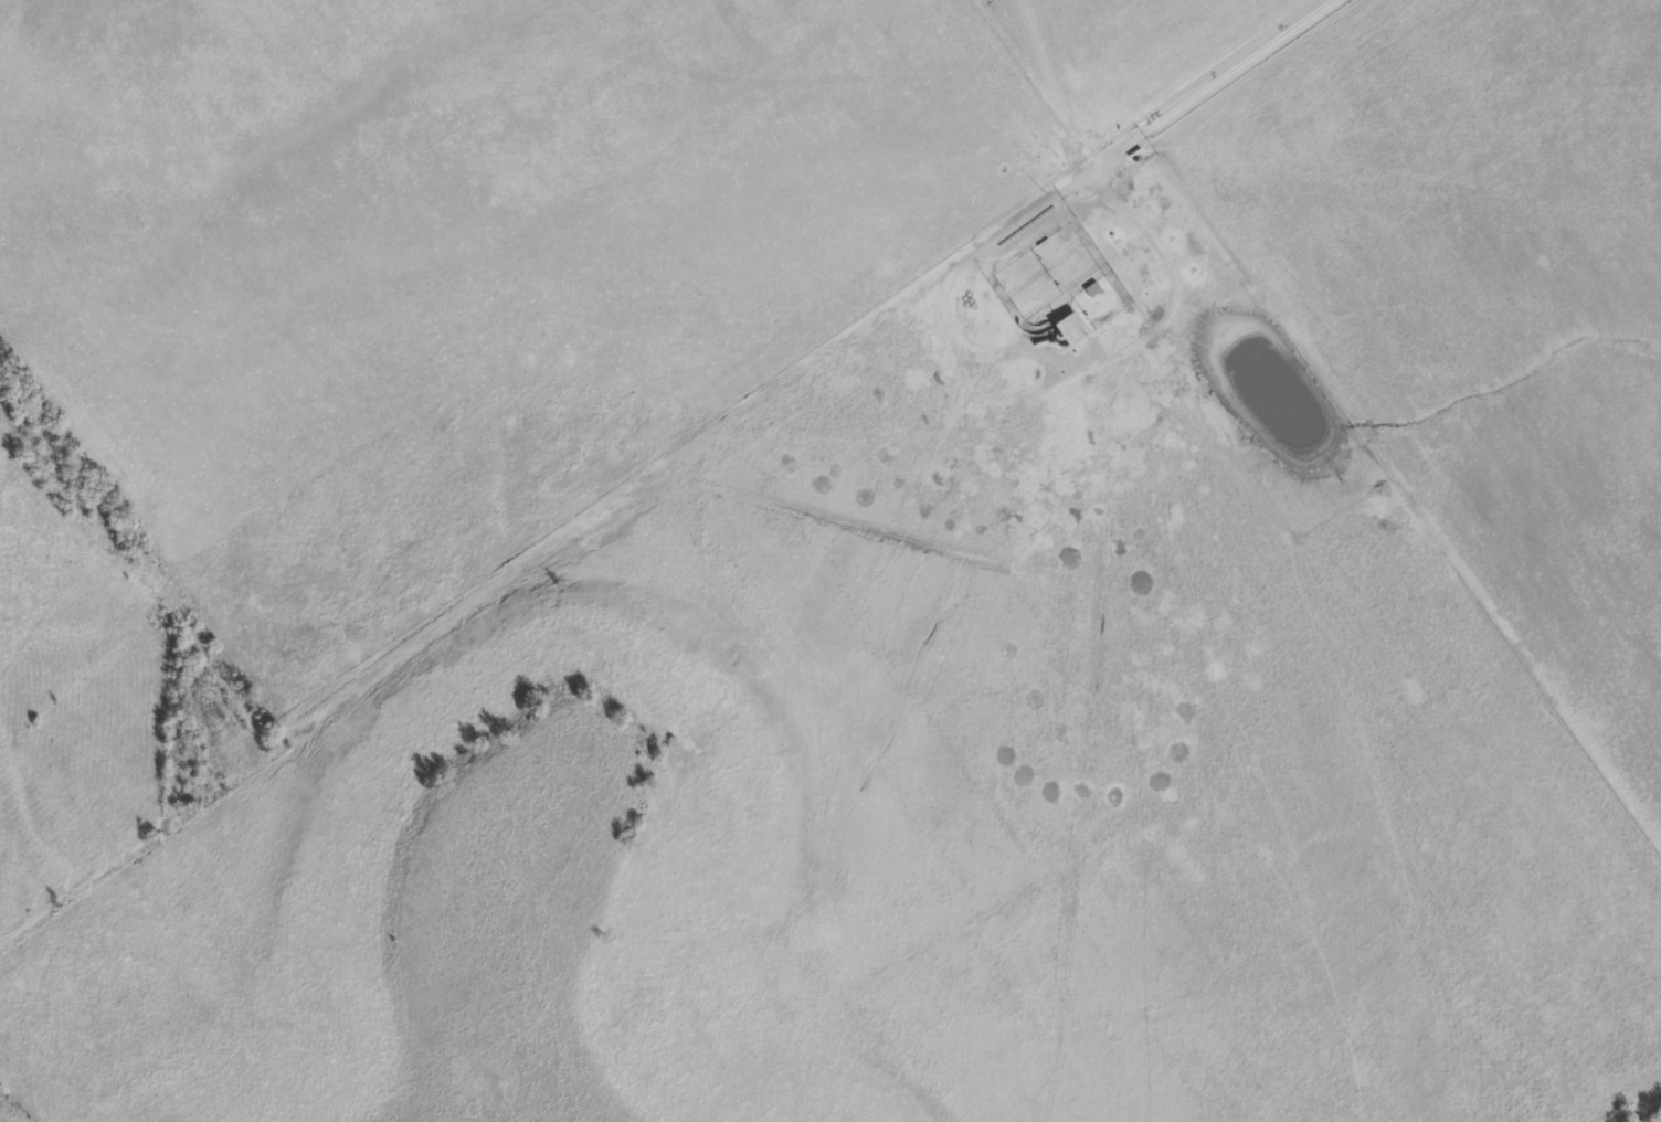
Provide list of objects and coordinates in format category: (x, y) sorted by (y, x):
road: (1203, 93)

